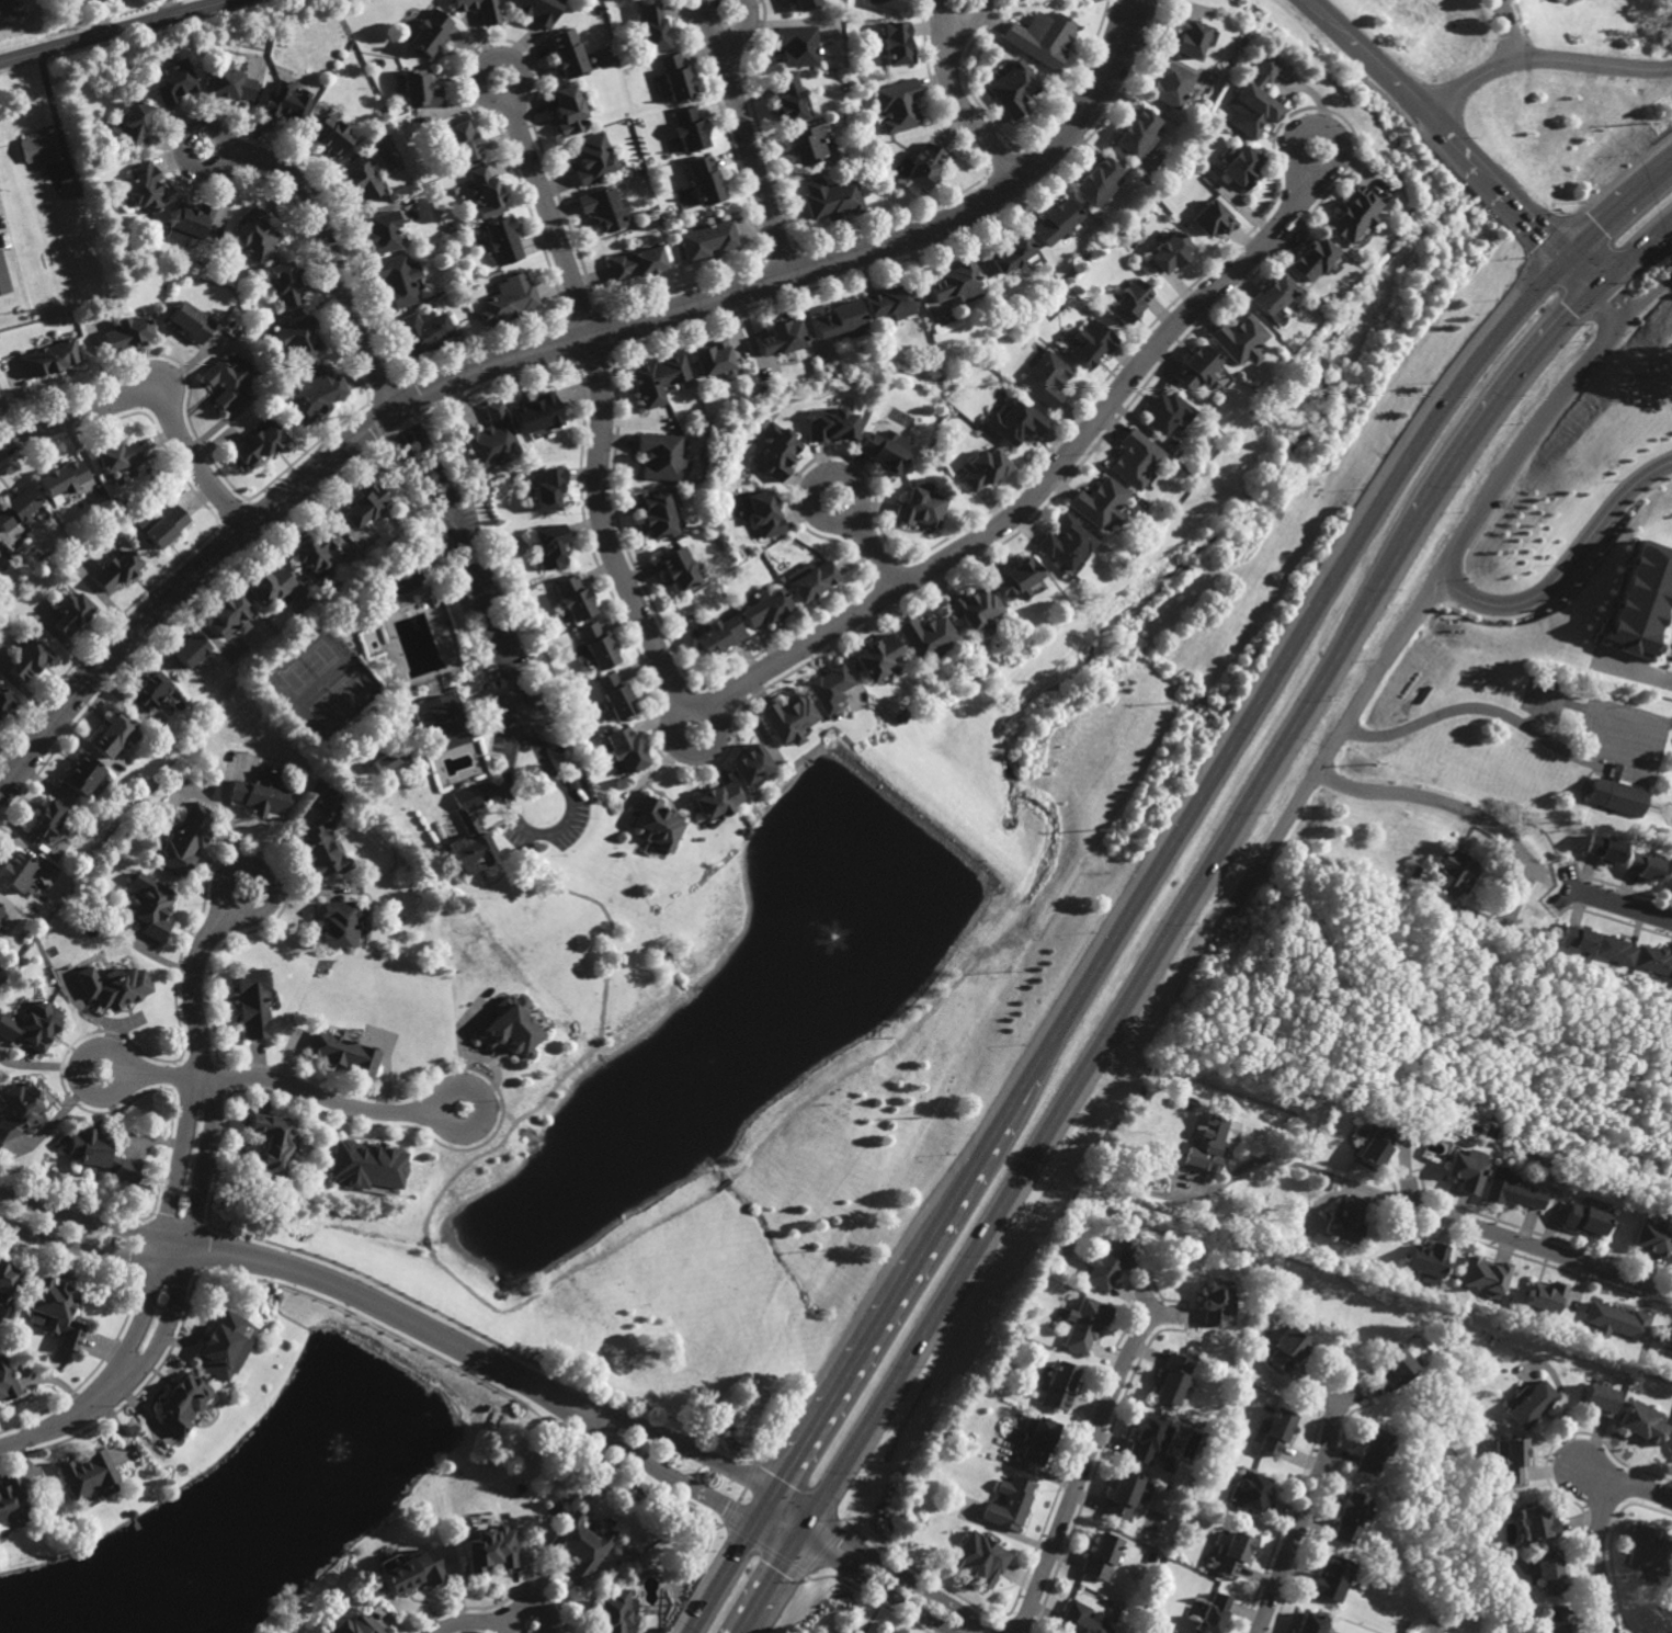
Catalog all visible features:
building: (803, 3)
building: (888, 3)
building: (479, 9)
building: (537, 10)
road: (1127, 13)
road: (1138, 13)
road: (960, 23)
building: (651, 27)
road: (1503, 30)
road: (115, 31)
building: (428, 32)
building: (1040, 37)
road: (726, 38)
building: (1187, 38)
building: (896, 43)
building: (795, 45)
building: (566, 53)
road: (507, 58)
road: (1542, 60)
building: (675, 77)
building: (174, 81)
building: (230, 83)
building: (1168, 83)
building: (418, 88)
building: (1013, 88)
building: (786, 99)
building: (285, 102)
building: (896, 104)
road: (963, 109)
building: (1251, 110)
building: (568, 111)
building: (134, 124)
road: (1310, 126)
building: (687, 129)
building: (328, 133)
building: (1134, 134)
road: (185, 138)
road: (1455, 139)
building: (459, 143)
building: (804, 144)
building: (38, 146)
road: (754, 157)
building: (591, 158)
building: (922, 166)
building: (1240, 166)
building: (360, 179)
building: (702, 180)
building: (1095, 181)
building: (144, 188)
building: (71, 190)
building: (482, 193)
building: (829, 199)
building: (603, 208)
building: (1353, 213)
building: (191, 218)
building: (1213, 218)
building: (1054, 224)
building: (379, 233)
building: (254, 235)
building: (706, 239)
building: (501, 241)
building: (1168, 253)
traffic signals: (1567, 253)
building: (1009, 254)
road: (337, 257)
building: (1310, 259)
building: (636, 263)
building: (396, 280)
building: (284, 283)
building: (953, 285)
traffic signals: (1599, 287)
building: (1272, 295)
building: (509, 298)
building: (1128, 300)
road: (1613, 302)
building: (887, 304)
building: (190, 319)
building: (837, 320)
building: (127, 330)
building: (423, 331)
building: (299, 336)
building: (778, 336)
building: (1238, 338)
building: (1089, 342)
road: (536, 350)
building: (50, 356)
building: (712, 356)
building: (1193, 366)
building: (657, 377)
building: (1045, 377)
building: (226, 379)
building: (319, 392)
road: (150, 400)
building: (537, 411)
building: (1163, 411)
building: (1014, 420)
building: (830, 423)
building: (492, 438)
building: (260, 442)
building: (884, 450)
building: (776, 451)
building: (659, 453)
building: (118, 455)
building: (1131, 457)
building: (983, 467)
road: (829, 475)
building: (62, 477)
building: (547, 486)
building: (1096, 502)
building: (365, 503)
road: (443, 506)
building: (919, 507)
building: (16, 508)
building: (764, 512)
building: (657, 514)
building: (166, 524)
building: (1065, 541)
building: (549, 544)
building: (315, 547)
road: (874, 549)
building: (678, 567)
building: (117, 569)
building: (331, 570)
road: (1571, 570)
building: (1016, 577)
building: (395, 578)
building: (810, 578)
road: (1437, 581)
building: (270, 583)
building: (573, 597)
building: (1640, 599)
building: (973, 605)
building: (765, 606)
building: (71, 612)
building: (230, 615)
road: (487, 616)
building: (718, 635)
building: (923, 635)
building: (596, 645)
building: (190, 648)
building: (874, 656)
building: (29, 659)
road: (777, 665)
road: (1638, 672)
building: (828, 687)
building: (150, 690)
building: (615, 695)
building: (4, 700)
building: (787, 718)
building: (444, 723)
road: (1534, 727)
building: (112, 734)
building: (624, 749)
road: (690, 749)
building: (388, 758)
road: (1584, 761)
building: (748, 763)
building: (83, 775)
road: (1011, 776)
building: (262, 792)
building: (1615, 797)
road: (1432, 798)
building: (715, 800)
dam: (924, 807)
building: (47, 820)
building: (656, 824)
building: (326, 833)
building: (468, 835)
road: (548, 837)
building: (187, 839)
building: (1603, 848)
building: (1642, 866)
building: (1453, 872)
building: (16, 873)
road: (1153, 873)
building: (1668, 874)
road: (263, 880)
road: (1624, 905)
building: (150, 907)
road: (1179, 907)
building: (1, 912)
road: (1498, 917)
building: (340, 925)
building: (1578, 938)
building: (1614, 950)
building: (1654, 959)
building: (113, 984)
road: (193, 986)
building: (251, 1000)
building: (32, 1023)
building: (512, 1032)
road: (594, 1050)
building: (344, 1051)
road: (87, 1061)
road: (857, 1067)
road: (163, 1075)
road: (205, 1077)
road: (322, 1097)
building: (21, 1109)
road: (480, 1112)
building: (1358, 1131)
building: (1212, 1139)
building: (273, 1145)
building: (1375, 1146)
building: (99, 1154)
building: (365, 1164)
road: (1296, 1164)
building: (1467, 1170)
road: (724, 1183)
building: (1511, 1190)
building: (1349, 1218)
building: (1585, 1218)
road: (109, 1228)
building: (1651, 1238)
road: (428, 1243)
road: (1538, 1247)
road: (109, 1252)
building: (1107, 1260)
building: (1429, 1261)
road: (567, 1273)
building: (1482, 1277)
building: (7, 1279)
building: (1546, 1295)
building: (1215, 1305)
road: (384, 1308)
building: (57, 1311)
building: (1618, 1320)
road: (139, 1324)
building: (1084, 1324)
road: (161, 1335)
building: (1669, 1343)
building: (224, 1346)
building: (1285, 1349)
building: (1392, 1364)
building: (1172, 1377)
building: (7, 1380)
building: (1058, 1385)
building: (1599, 1400)
building: (184, 1404)
building: (1533, 1405)
building: (1642, 1421)
road: (49, 1430)
building: (1271, 1431)
building: (1147, 1438)
building: (1039, 1440)
road: (678, 1447)
building: (1369, 1452)
building: (1510, 1459)
road: (1085, 1465)
road: (663, 1472)
building: (87, 1474)
road: (1599, 1477)
building: (1249, 1489)
building: (1125, 1495)
traffic signals: (774, 1496)
building: (11, 1500)
building: (1010, 1502)
building: (133, 1512)
road: (1304, 1513)
building: (1346, 1515)
traffic signals: (814, 1516)
building: (1536, 1522)
traffic signals: (757, 1523)
road: (1597, 1532)
traffic signals: (795, 1545)
building: (579, 1547)
building: (1647, 1549)
building: (487, 1551)
building: (1103, 1556)
building: (1229, 1556)
building: (979, 1558)
building: (1548, 1569)
road: (901, 1574)
building: (407, 1575)
building: (1330, 1578)
road: (873, 1589)
road: (531, 1606)
building: (1212, 1612)
building: (613, 1613)
building: (1080, 1620)
building: (1555, 1620)
road: (473, 1621)
building: (1308, 1623)
building: (354, 1626)
building: (842, 1632)

